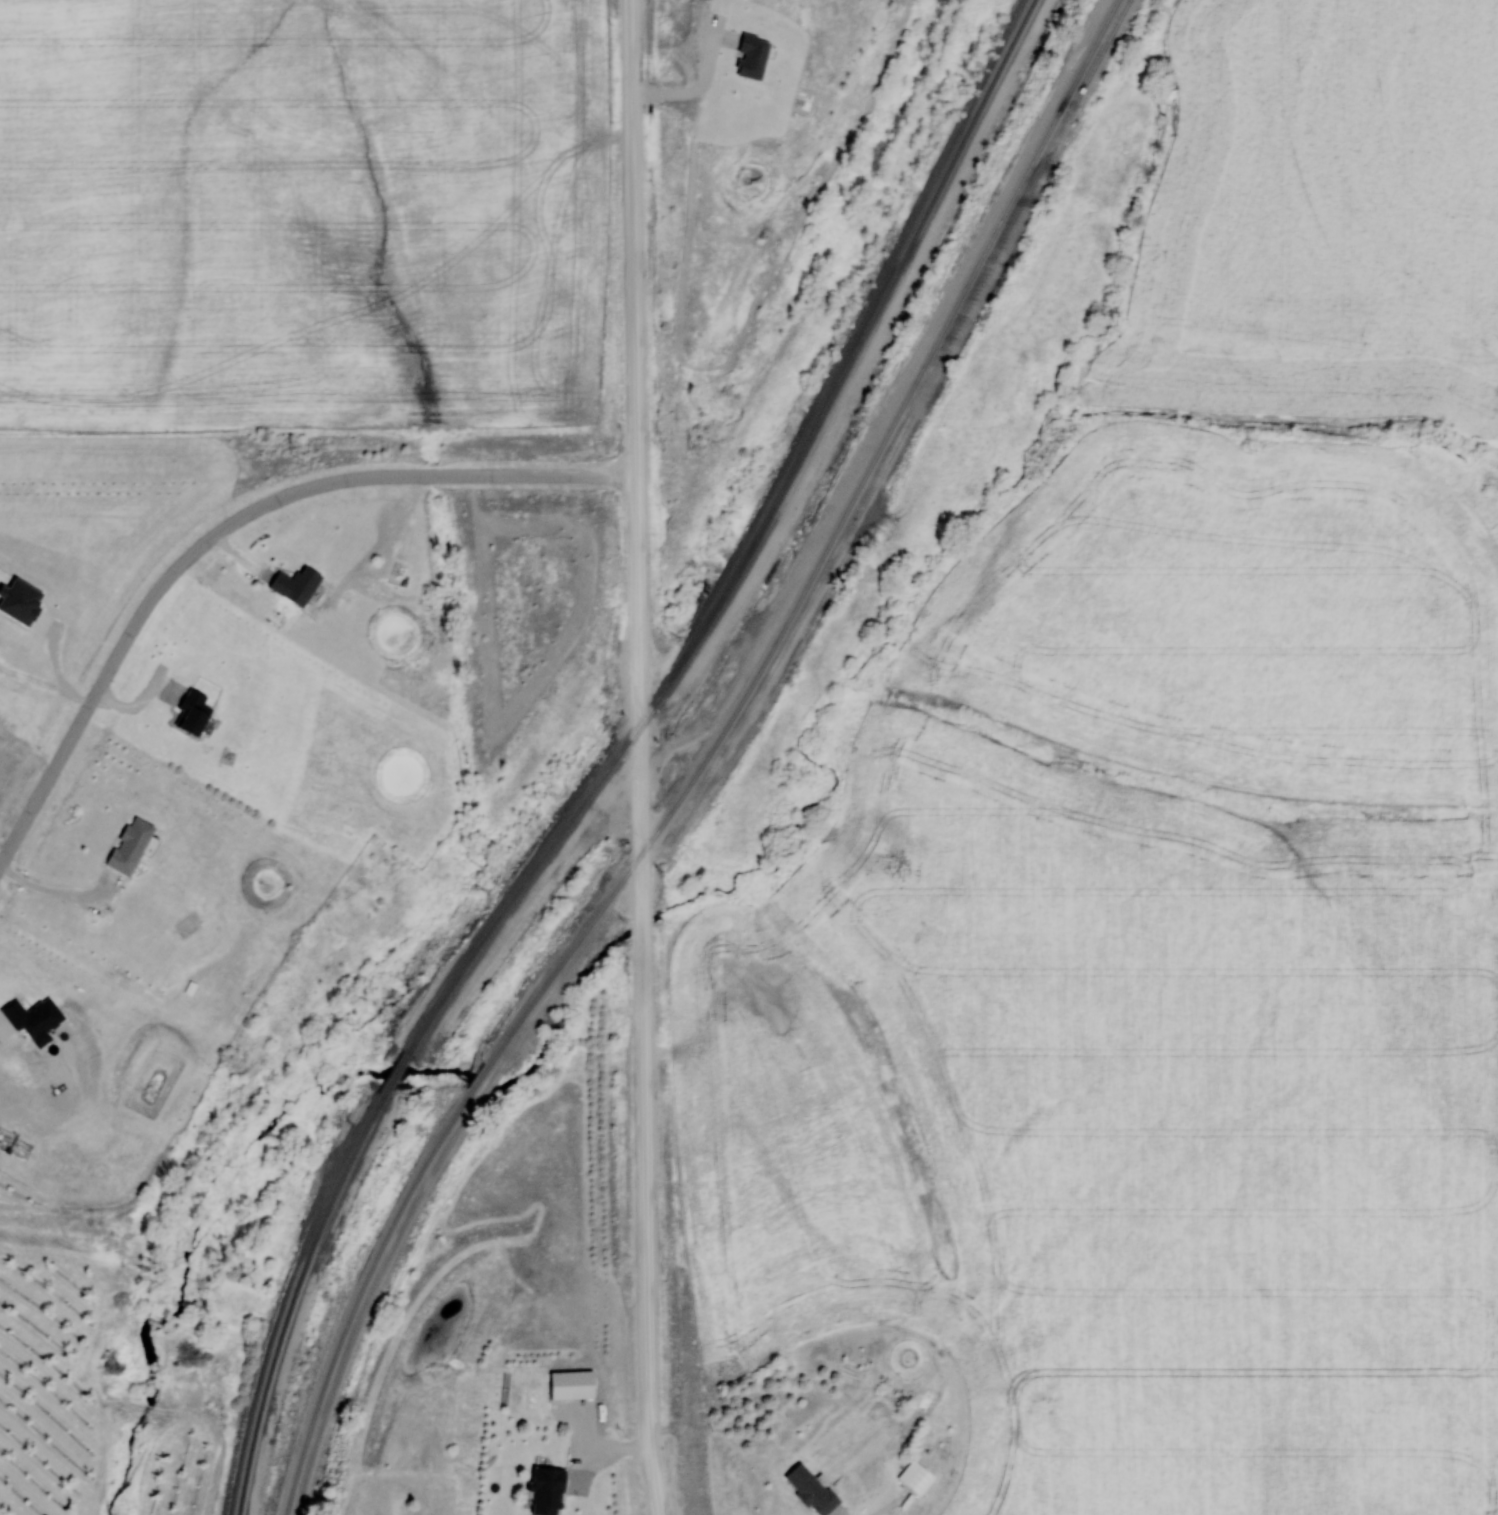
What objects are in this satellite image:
power tower: (1248, 444)
power tower: (691, 449)
power tower: (292, 451)
road: (230, 526)
railway: (753, 539)
building: (296, 585)
building: (192, 713)
road: (639, 757)
railway: (700, 761)
building: (130, 846)
railway: (396, 1072)
railway: (292, 1301)
building: (572, 1386)
building: (916, 1478)
building: (811, 1490)
building: (547, 1491)

